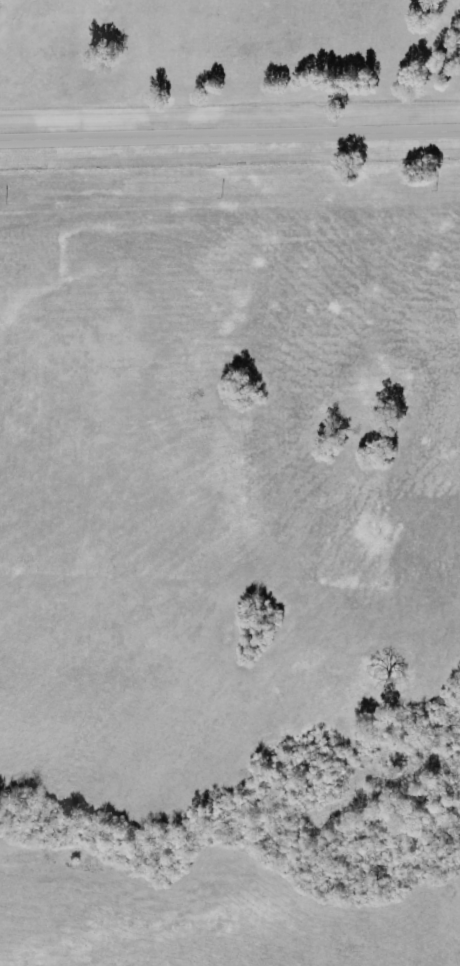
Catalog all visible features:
road: (229, 131)

